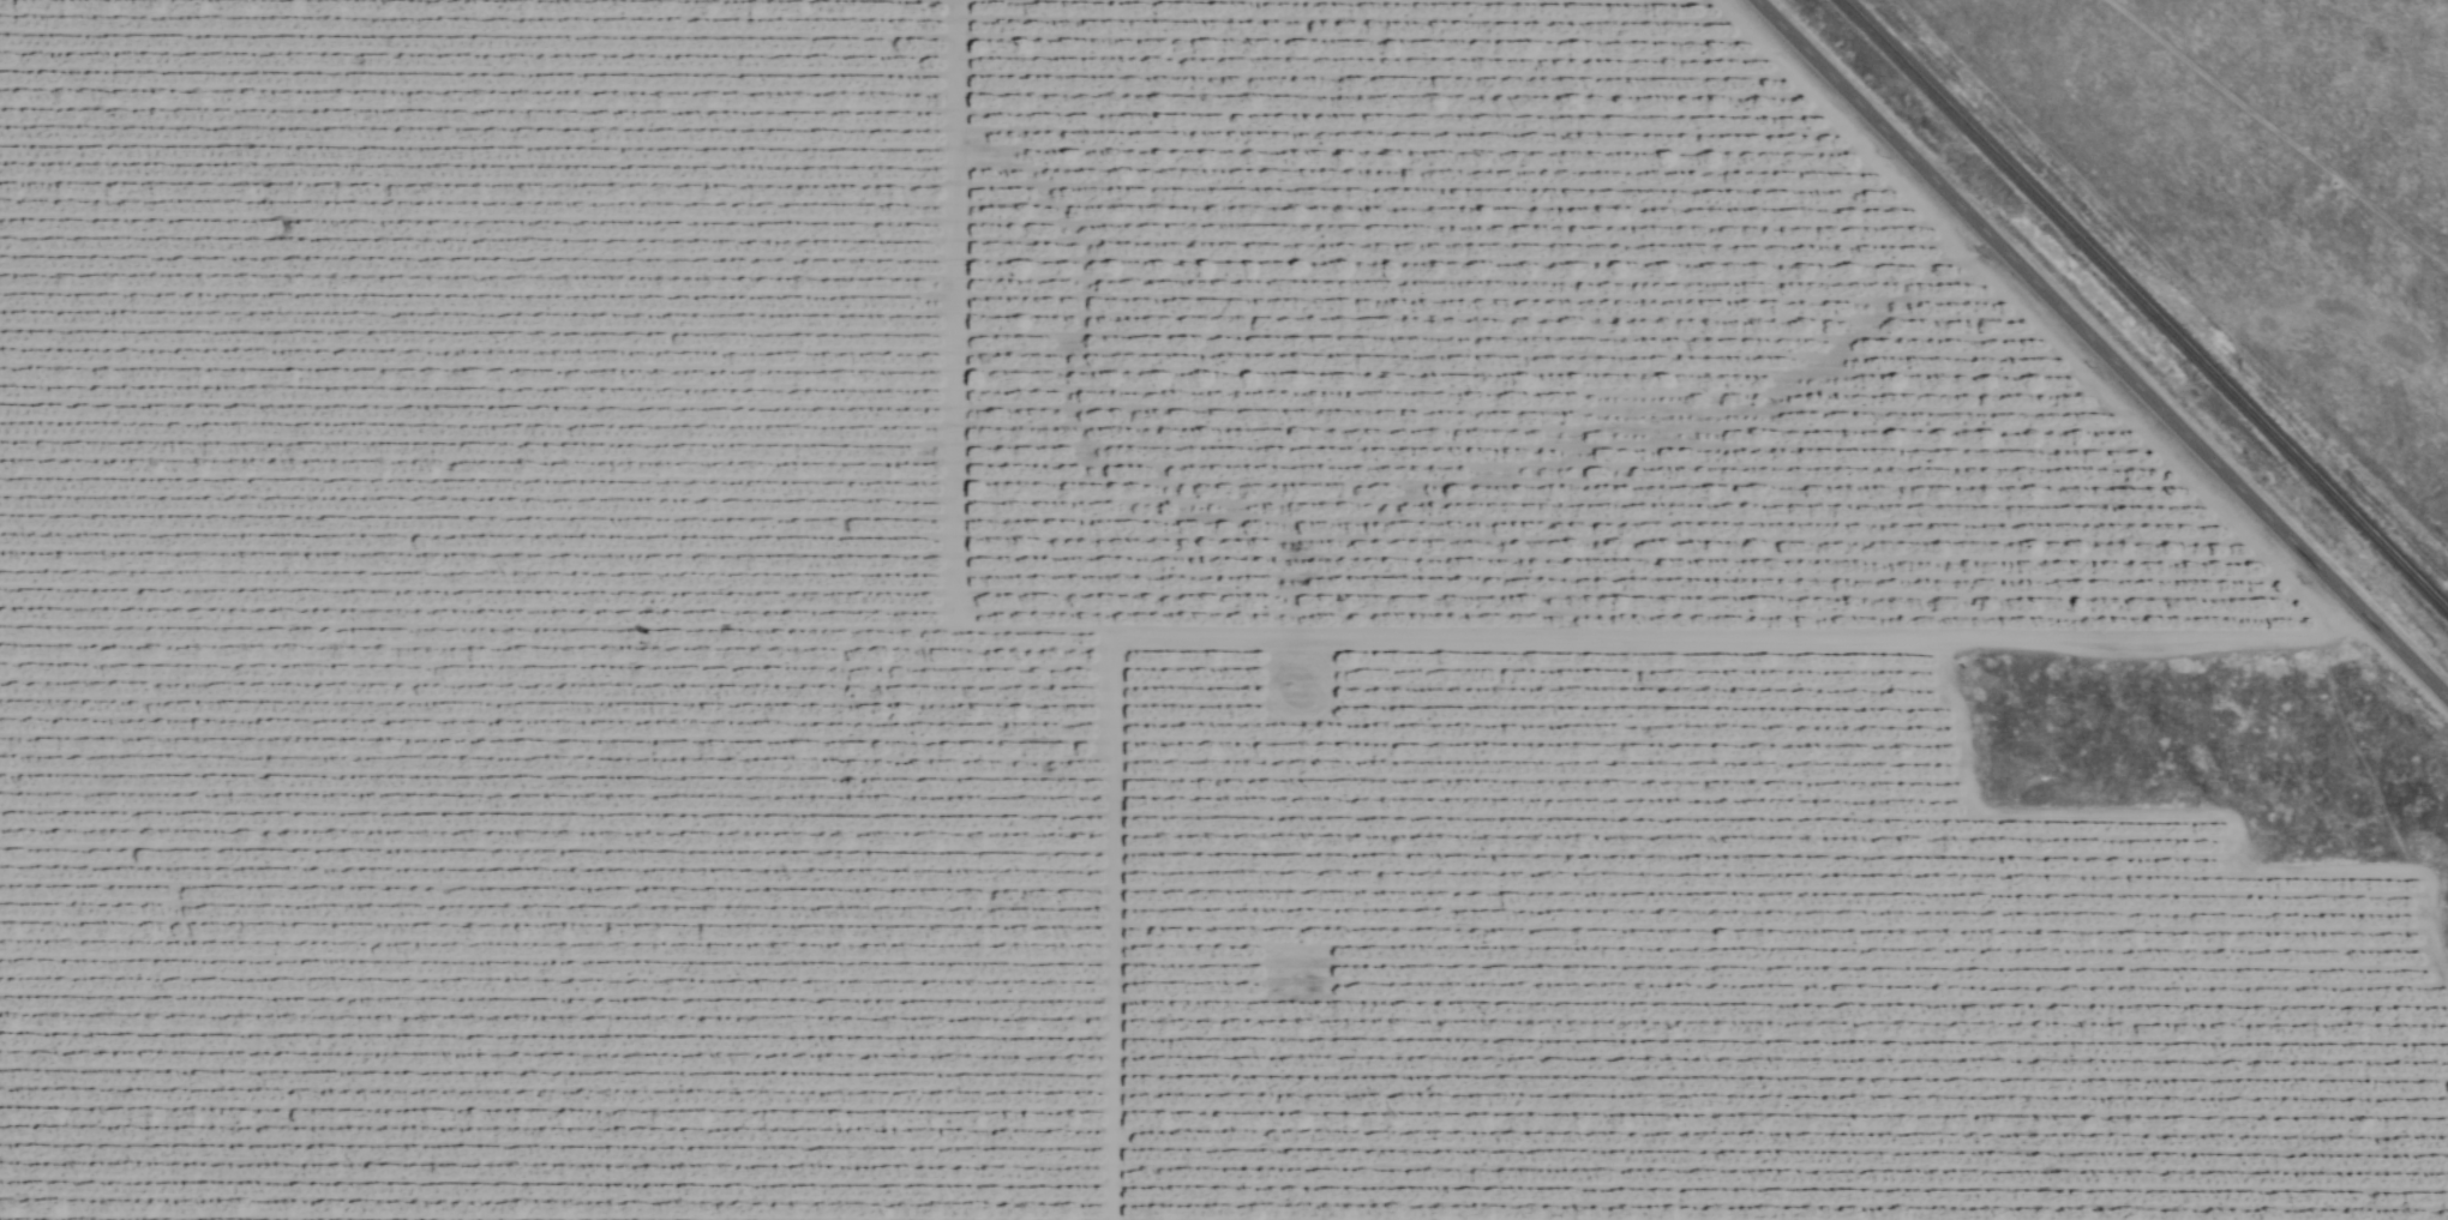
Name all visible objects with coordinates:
railway: (2143, 307)
road: (2099, 350)
crop: (1096, 642)

